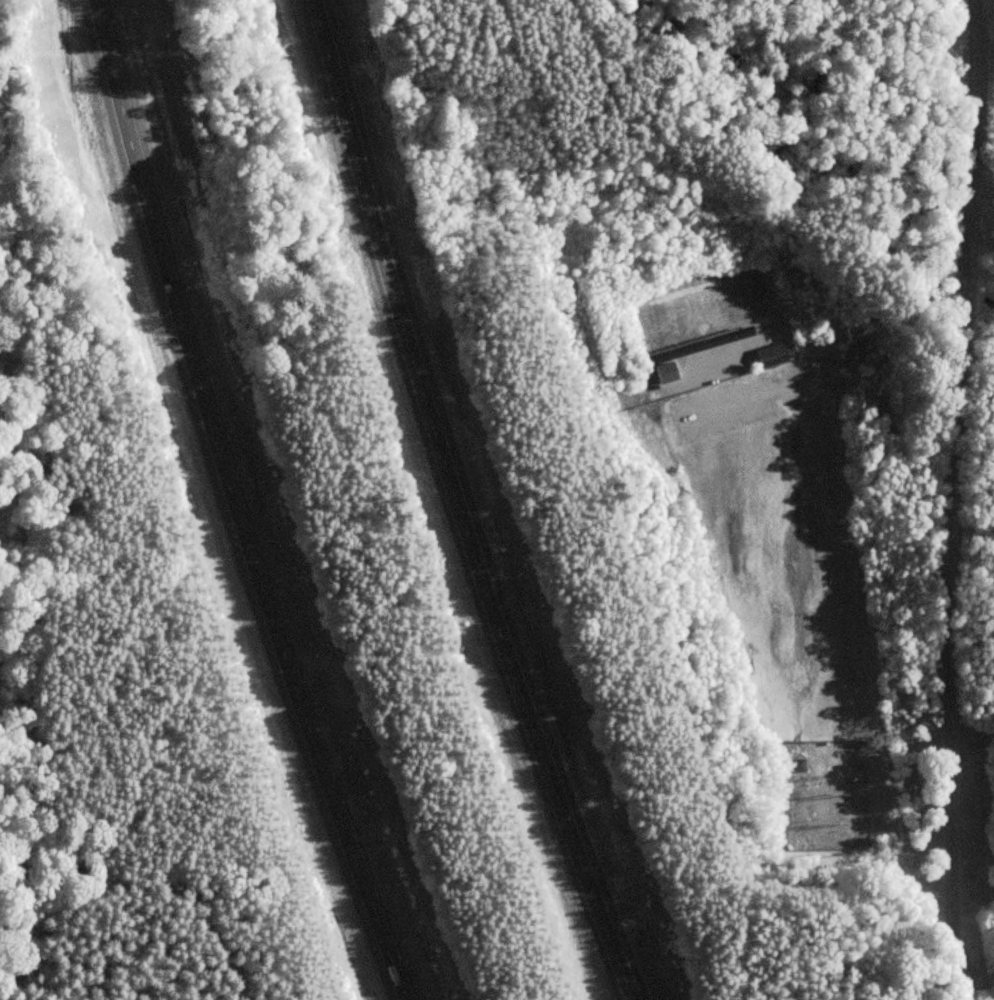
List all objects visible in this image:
building: (702, 345)
building: (772, 355)
road: (947, 499)
road: (233, 503)
road: (455, 506)
building: (797, 766)

